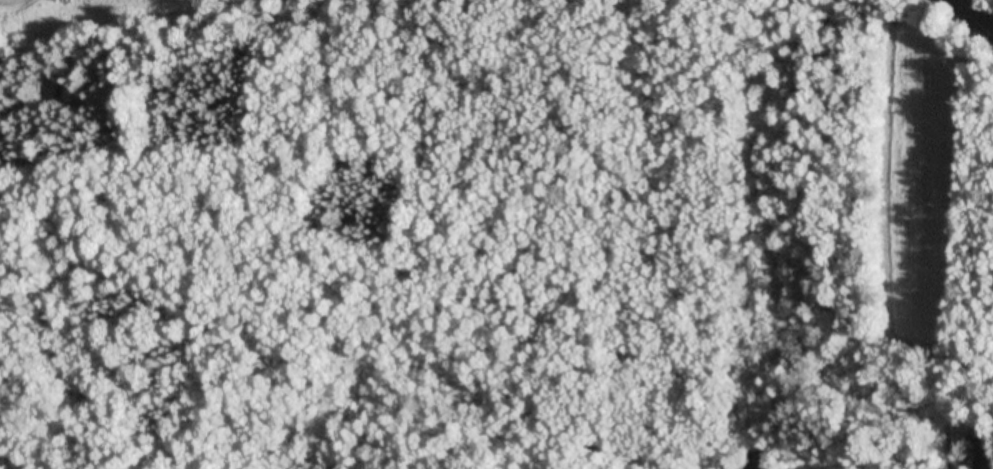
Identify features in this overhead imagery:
railway: (975, 14)

